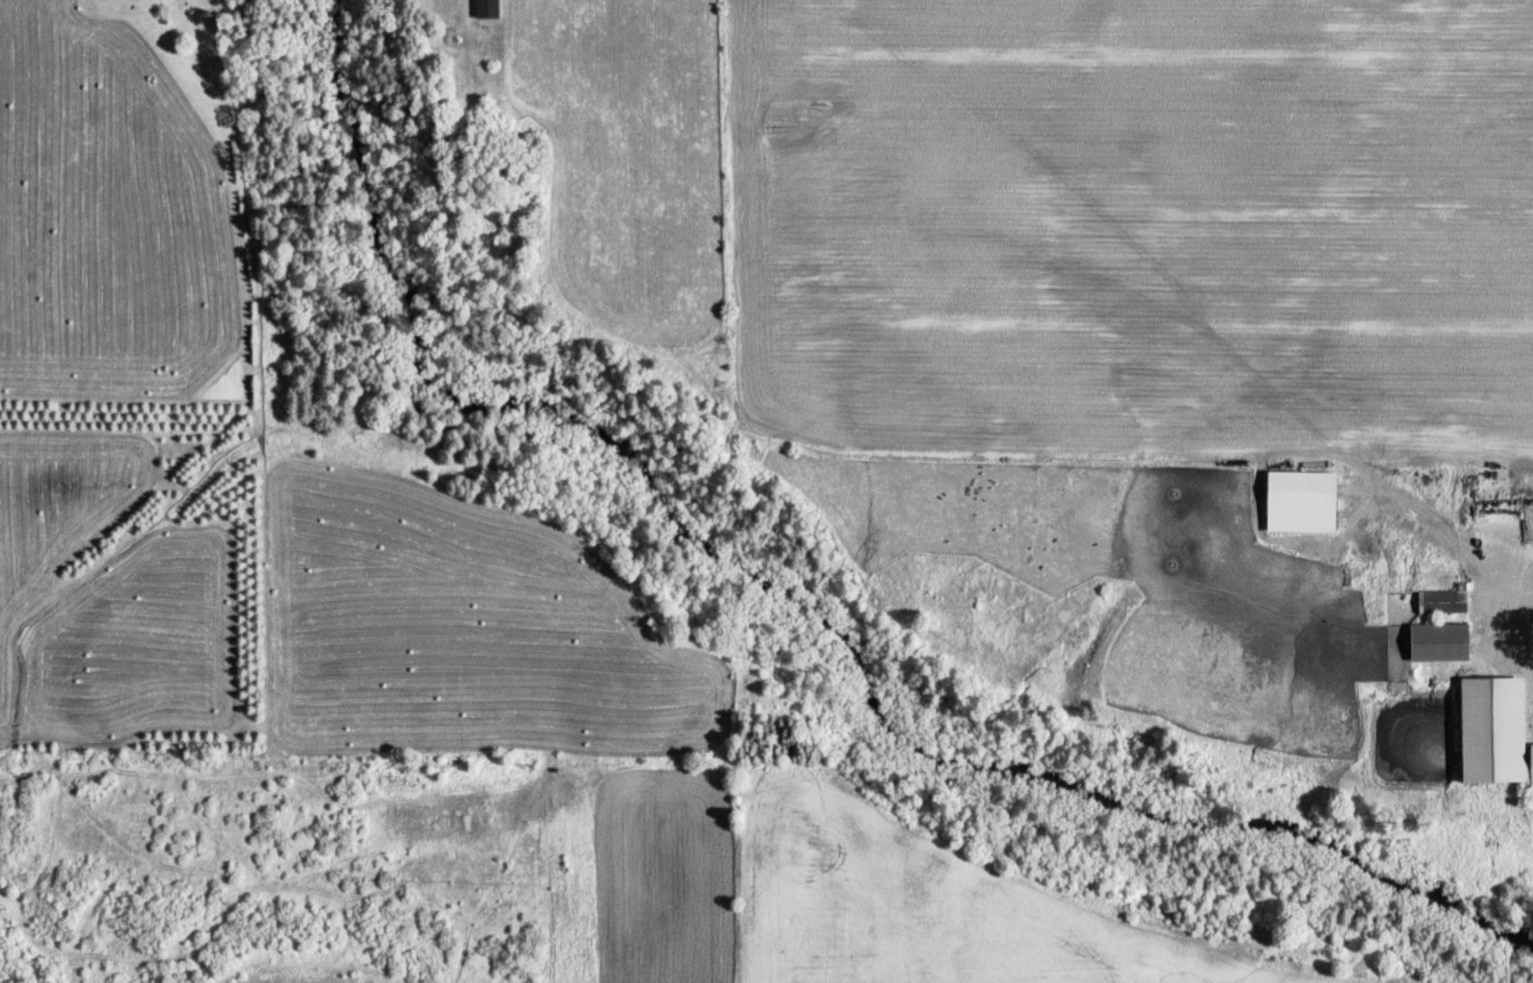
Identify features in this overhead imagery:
building: (487, 9)
river: (802, 594)
building: (1443, 601)
building: (1437, 642)
road: (1509, 643)
building: (1496, 735)

